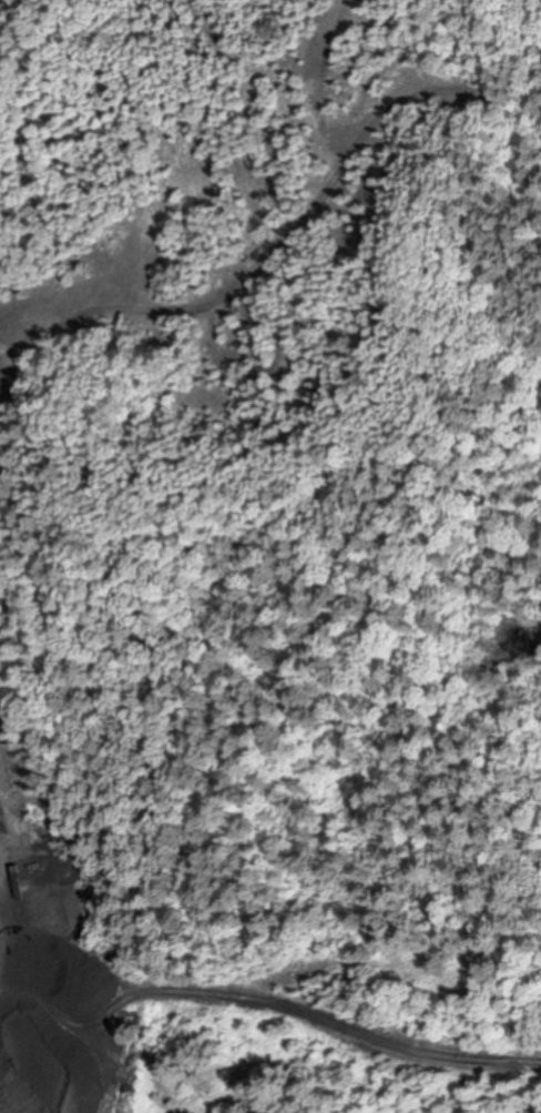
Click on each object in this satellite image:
road: (290, 234)
quarry: (4, 452)
quarry: (185, 594)
quarry: (76, 993)
road: (273, 1000)

